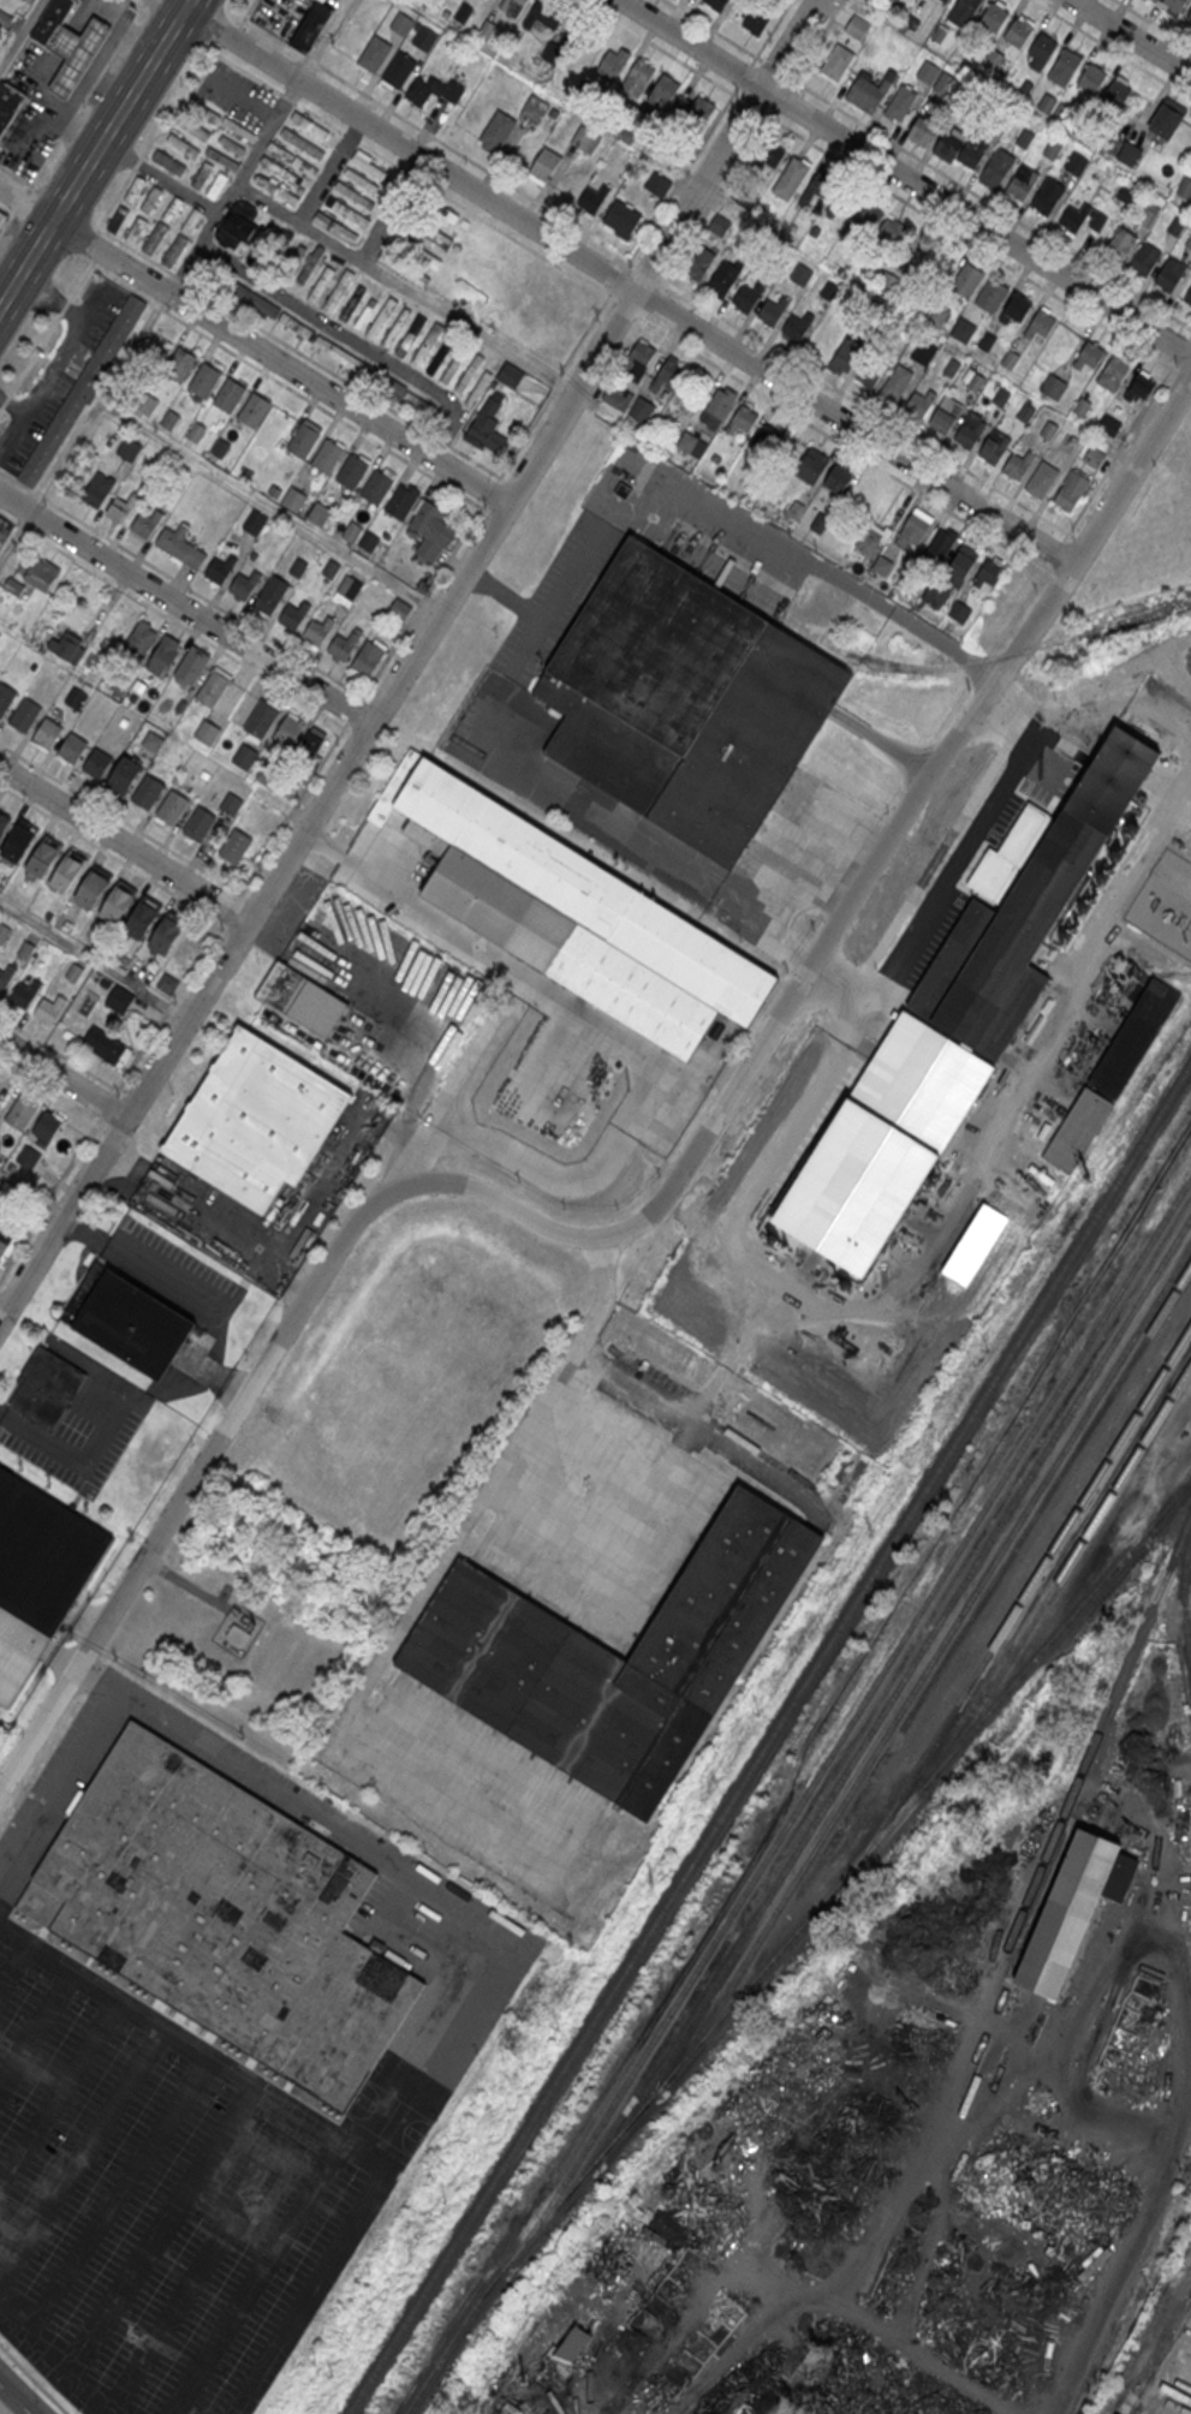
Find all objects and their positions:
building: (26, 0)
building: (324, 0)
building: (945, 0)
road: (136, 4)
building: (714, 4)
building: (1174, 4)
building: (512, 6)
building: (961, 11)
road: (249, 12)
building: (543, 13)
building: (1187, 13)
building: (993, 17)
building: (53, 20)
building: (756, 20)
building: (401, 23)
road: (1154, 23)
building: (312, 28)
building: (1018, 31)
road: (20, 34)
road: (231, 34)
road: (1132, 36)
road: (323, 38)
building: (424, 38)
building: (1042, 47)
road: (1112, 48)
building: (374, 53)
building: (76, 54)
building: (993, 58)
building: (836, 62)
building: (613, 64)
building: (1065, 66)
building: (399, 68)
road: (249, 71)
building: (928, 71)
building: (637, 78)
building: (1090, 78)
building: (945, 83)
building: (869, 89)
building: (423, 90)
building: (1116, 93)
building: (663, 94)
road: (85, 95)
road: (290, 96)
building: (900, 102)
building: (1047, 103)
building: (8, 106)
building: (701, 111)
building: (1061, 112)
road: (321, 115)
building: (1167, 118)
building: (224, 121)
building: (309, 125)
building: (193, 127)
building: (921, 131)
road: (708, 132)
building: (496, 133)
road: (156, 135)
road: (351, 135)
building: (1024, 138)
road: (441, 141)
building: (302, 143)
building: (949, 143)
road: (752, 144)
building: (181, 145)
building: (1052, 148)
building: (972, 150)
road: (94, 151)
building: (1129, 153)
road: (382, 154)
building: (770, 155)
building: (222, 159)
building: (292, 159)
building: (168, 162)
road: (927, 162)
building: (1076, 162)
building: (369, 165)
building: (996, 166)
building: (278, 168)
road: (329, 168)
building: (542, 169)
road: (413, 173)
building: (202, 174)
road: (14, 175)
road: (161, 175)
building: (791, 177)
road: (904, 178)
building: (1022, 183)
building: (216, 185)
building: (657, 185)
road: (881, 185)
building: (1185, 186)
road: (236, 187)
building: (821, 187)
building: (133, 189)
building: (276, 190)
building: (353, 195)
building: (1047, 195)
building: (151, 198)
building: (591, 201)
road: (19, 202)
road: (393, 209)
building: (347, 211)
road: (5, 213)
building: (1148, 214)
building: (1082, 216)
building: (117, 219)
building: (621, 221)
road: (6, 223)
building: (238, 223)
building: (162, 225)
building: (862, 225)
building: (1175, 225)
building: (335, 227)
building: (135, 228)
building: (894, 231)
building: (183, 237)
road: (518, 239)
building: (1187, 240)
building: (1120, 243)
road: (94, 244)
building: (415, 251)
building: (258, 258)
building: (1145, 258)
building: (698, 263)
building: (309, 264)
building: (403, 269)
road: (649, 269)
building: (1169, 274)
building: (802, 275)
road: (619, 276)
building: (722, 279)
building: (964, 279)
road: (624, 280)
building: (320, 285)
road: (406, 288)
building: (338, 291)
building: (748, 294)
building: (990, 297)
building: (1187, 298)
road: (656, 299)
building: (351, 303)
building: (261, 305)
road: (625, 306)
building: (1017, 309)
building: (773, 310)
building: (363, 314)
building: (937, 316)
building: (381, 317)
building: (1042, 323)
building: (798, 324)
building: (395, 326)
building: (963, 330)
road: (46, 334)
building: (410, 334)
road: (350, 339)
building: (823, 341)
building: (427, 344)
road: (252, 346)
road: (1184, 347)
road: (298, 351)
building: (340, 351)
building: (923, 353)
building: (1090, 353)
building: (846, 354)
building: (439, 356)
road: (621, 358)
building: (639, 358)
building: (180, 364)
building: (451, 366)
building: (871, 368)
building: (951, 368)
building: (1113, 370)
parking lot: (58, 372)
building: (468, 372)
road: (1184, 374)
building: (511, 375)
building: (668, 375)
building: (204, 379)
building: (975, 381)
building: (897, 382)
road: (286, 386)
building: (1053, 386)
building: (1141, 386)
building: (478, 387)
building: (82, 388)
building: (228, 394)
building: (618, 397)
building: (415, 401)
building: (720, 403)
road: (97, 404)
building: (147, 404)
building: (918, 405)
road: (865, 406)
building: (254, 409)
building: (639, 411)
building: (169, 419)
building: (742, 419)
building: (942, 419)
building: (484, 422)
building: (1109, 424)
building: (969, 430)
building: (196, 431)
building: (766, 437)
building: (302, 439)
road: (845, 443)
building: (993, 446)
building: (129, 447)
building: (220, 448)
road: (1120, 448)
building: (328, 455)
building: (1094, 457)
building: (1017, 464)
building: (812, 465)
building: (352, 471)
building: (840, 477)
building: (1042, 479)
building: (377, 487)
building: (97, 489)
building: (1072, 490)
building: (293, 499)
building: (403, 500)
road: (269, 506)
building: (121, 507)
road: (710, 508)
building: (318, 513)
building: (252, 520)
building: (145, 523)
building: (434, 527)
building: (916, 527)
building: (5, 531)
building: (351, 531)
road: (14, 536)
building: (369, 541)
building: (871, 541)
road: (1077, 541)
building: (941, 544)
building: (180, 546)
road: (1058, 549)
road: (1048, 564)
building: (960, 565)
building: (298, 567)
building: (330, 567)
building: (220, 568)
building: (37, 571)
building: (989, 573)
road: (1058, 577)
road: (181, 583)
building: (244, 583)
building: (349, 586)
building: (270, 594)
building: (935, 596)
road: (185, 608)
building: (398, 608)
building: (959, 612)
building: (293, 614)
road: (172, 619)
building: (318, 628)
building: (139, 640)
building: (343, 644)
building: (67, 646)
building: (163, 652)
building: (369, 655)
road: (409, 660)
building: (193, 662)
railway: (943, 666)
building: (213, 686)
road: (365, 691)
building: (5, 697)
building: (76, 697)
building: (686, 699)
building: (24, 713)
building: (262, 719)
building: (288, 731)
building: (207, 732)
building: (46, 733)
building: (153, 741)
building: (311, 743)
building: (71, 749)
building: (245, 756)
building: (95, 763)
building: (123, 774)
building: (147, 791)
building: (231, 803)
building: (172, 806)
road: (586, 815)
road: (120, 818)
building: (4, 822)
building: (198, 822)
road: (983, 839)
building: (19, 841)
road: (124, 841)
building: (234, 845)
road: (111, 853)
building: (43, 856)
building: (67, 869)
building: (94, 887)
building: (1044, 896)
building: (118, 901)
building: (572, 911)
building: (142, 917)
building: (4, 931)
building: (167, 932)
building: (25, 948)
road: (93, 959)
building: (75, 971)
building: (6, 974)
building: (167, 982)
parking lot: (359, 982)
building: (24, 993)
building: (119, 997)
building: (88, 1002)
road: (879, 1003)
building: (49, 1008)
building: (321, 1008)
road: (613, 1036)
building: (106, 1045)
road: (61, 1053)
building: (1114, 1074)
road: (62, 1075)
road: (699, 1075)
road: (457, 1084)
road: (52, 1087)
road: (129, 1095)
road: (107, 1104)
building: (20, 1111)
building: (257, 1120)
building: (47, 1123)
road: (111, 1126)
road: (393, 1129)
building: (28, 1157)
road: (321, 1185)
parking lot: (169, 1190)
road: (49, 1197)
road: (650, 1211)
road: (210, 1217)
building: (5, 1242)
road: (272, 1252)
road: (1, 1287)
road: (8, 1291)
parking lot: (179, 1304)
road: (597, 1305)
road: (2, 1307)
building: (126, 1319)
building: (46, 1387)
parking lot: (79, 1424)
road: (41, 1444)
railway: (1167, 1503)
railway: (1037, 1510)
building: (37, 1573)
railway: (1059, 1578)
railway: (1184, 1601)
parking lot: (555, 1602)
railway: (1013, 1609)
building: (237, 1629)
building: (615, 1656)
railway: (927, 1668)
road: (111, 1686)
railway: (895, 1691)
railway: (850, 1721)
railway: (769, 1739)
road: (329, 1823)
railway: (1025, 1905)
railway: (818, 1906)
building: (1072, 1909)
building: (219, 1918)
road: (13, 1968)
road: (35, 2031)
road: (58, 2098)
road: (309, 2124)
road: (81, 2159)
road: (1132, 2163)
road: (118, 2197)
parking lot: (156, 2206)
road: (162, 2234)
road: (202, 2264)
road: (252, 2278)
railway: (1150, 2341)
road: (54, 2361)
railway: (430, 2376)
road: (16, 2398)

